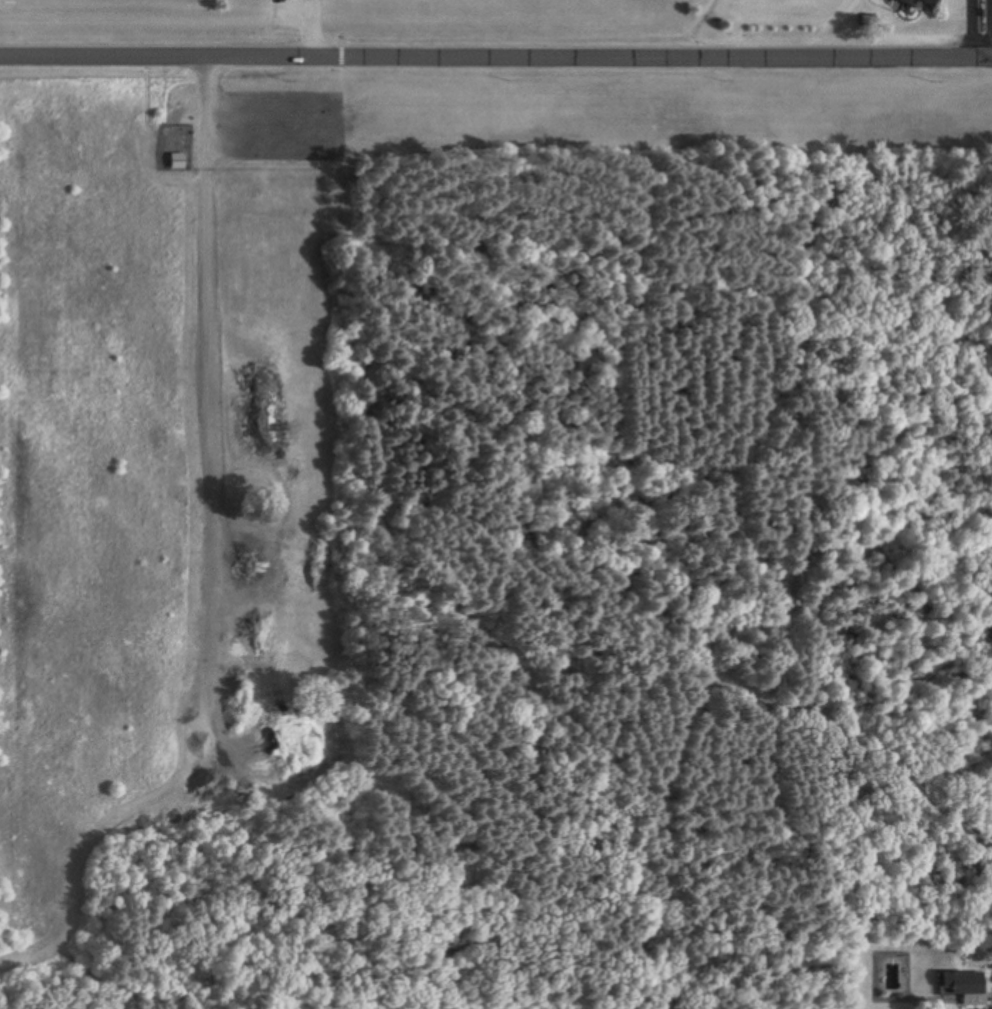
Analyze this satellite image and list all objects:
building: (935, 1)
park: (374, 23)
road: (974, 29)
road: (495, 57)
building: (180, 161)
crop: (5, 409)
park: (456, 508)
building: (961, 982)

